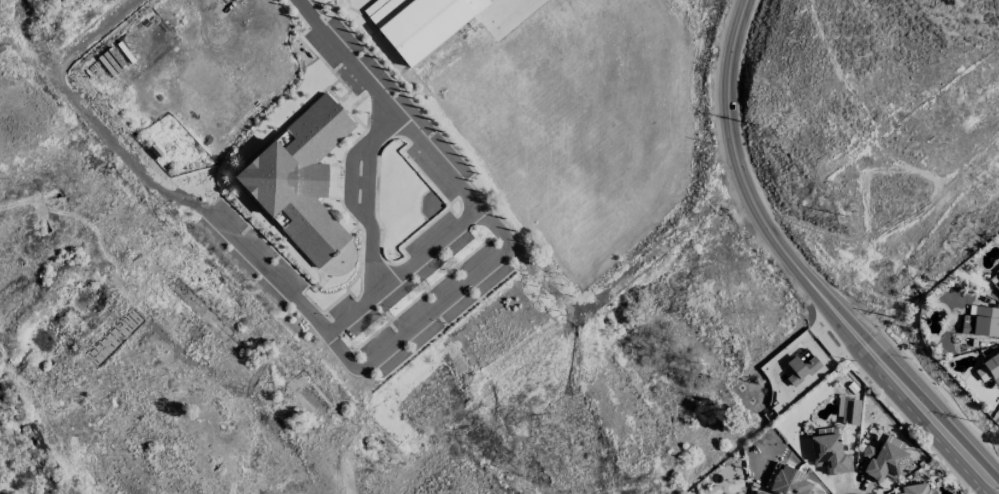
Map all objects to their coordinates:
building: (419, 22)
building: (299, 179)
road: (769, 220)
road: (373, 226)
road: (425, 249)
building: (997, 271)
railway: (194, 274)
building: (996, 286)
building: (981, 322)
road: (350, 361)
building: (800, 369)
building: (989, 369)
building: (850, 412)
road: (957, 446)
building: (829, 454)
building: (881, 462)
building: (787, 481)
building: (915, 489)

